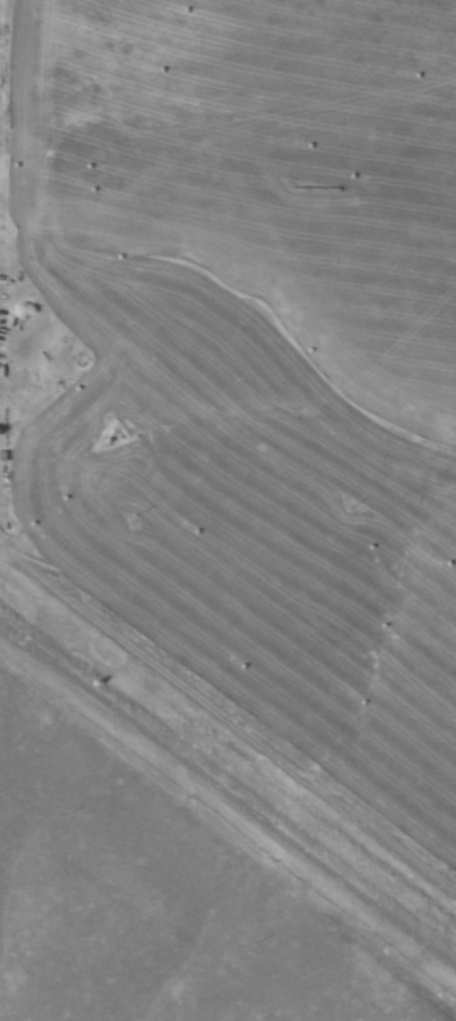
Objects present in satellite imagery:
railway: (42, 659)
railway: (41, 688)
road: (227, 734)
railway: (270, 833)

